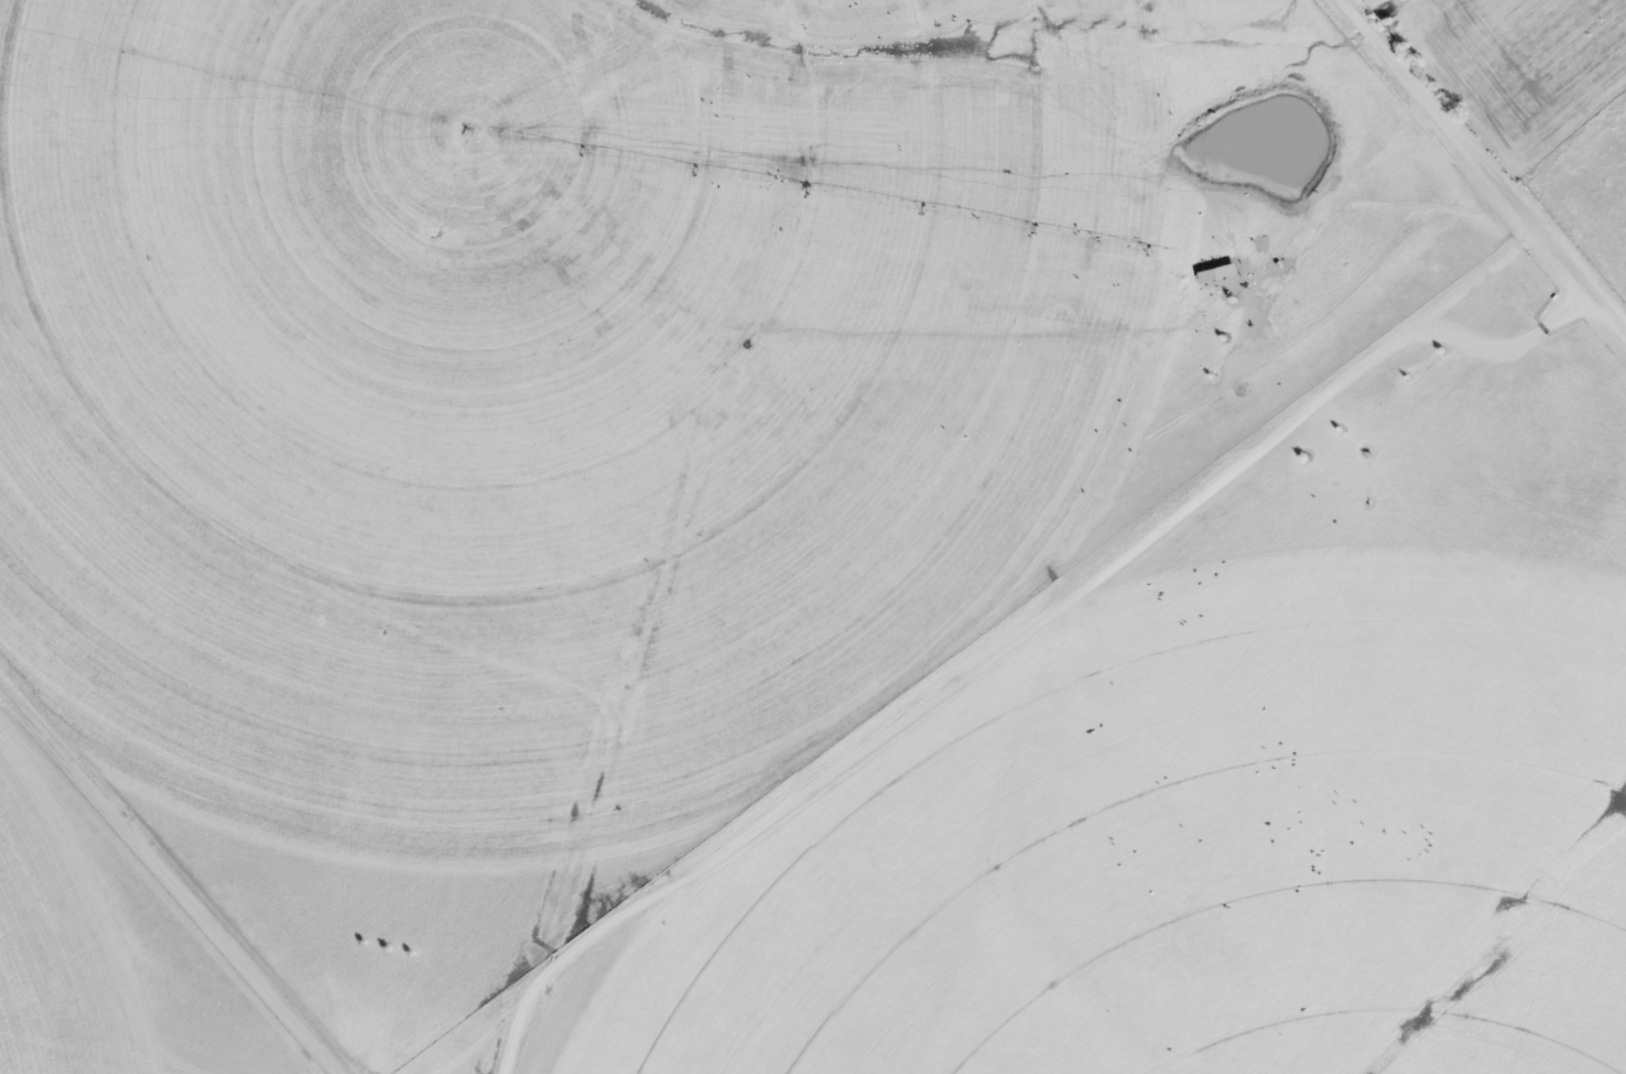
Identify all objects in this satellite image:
road: (1482, 170)
road: (1000, 644)

